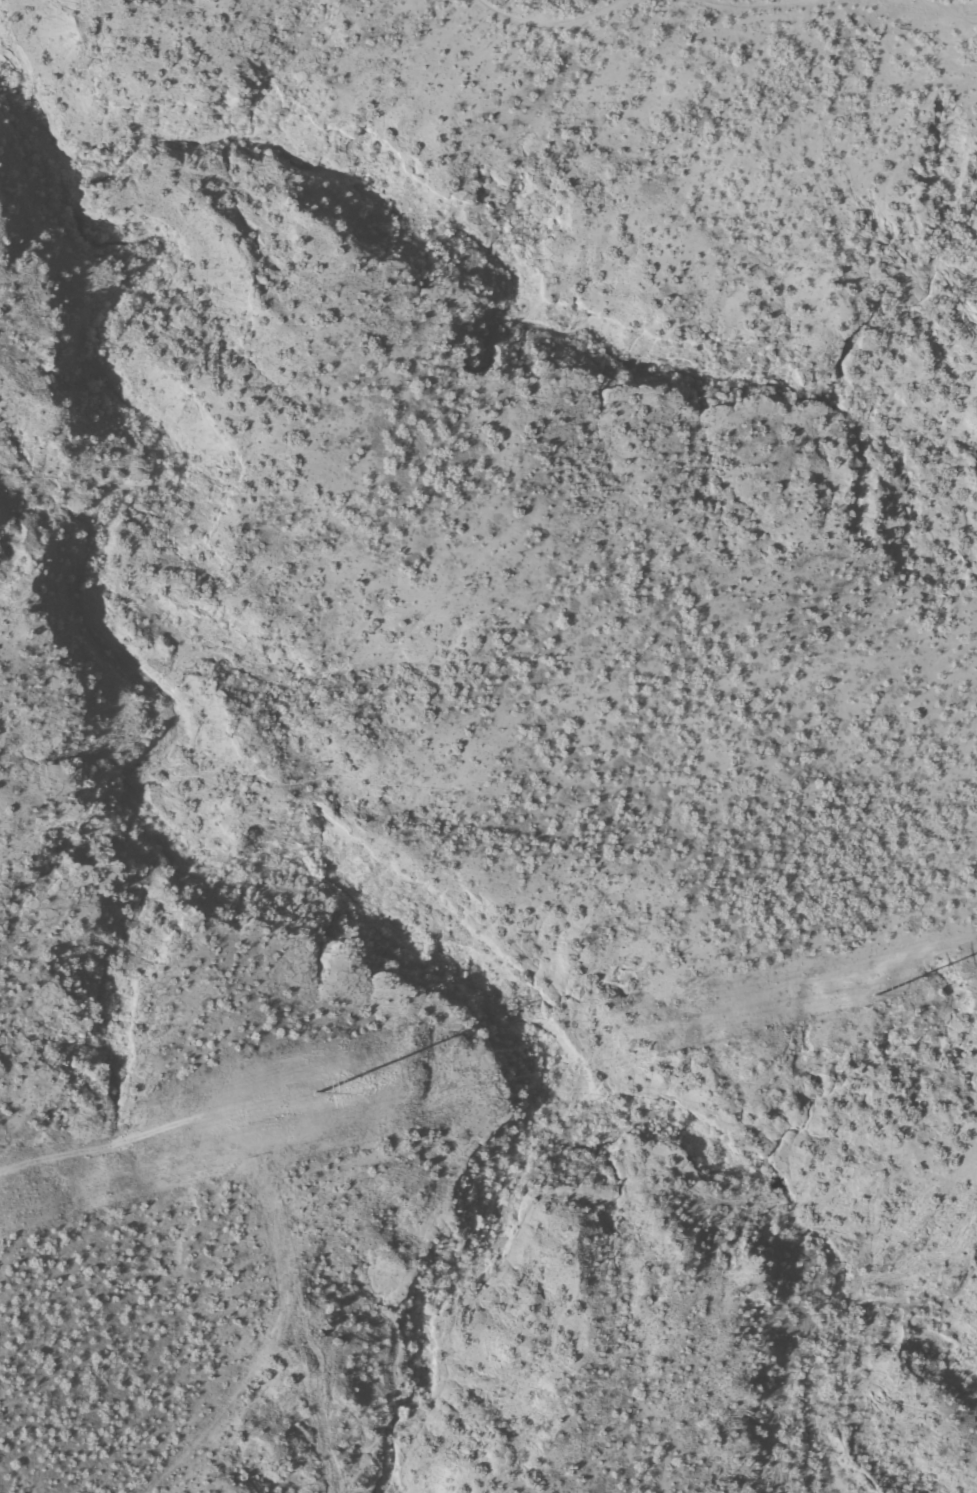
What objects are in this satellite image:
power tower: (876, 996)
power tower: (317, 1093)

